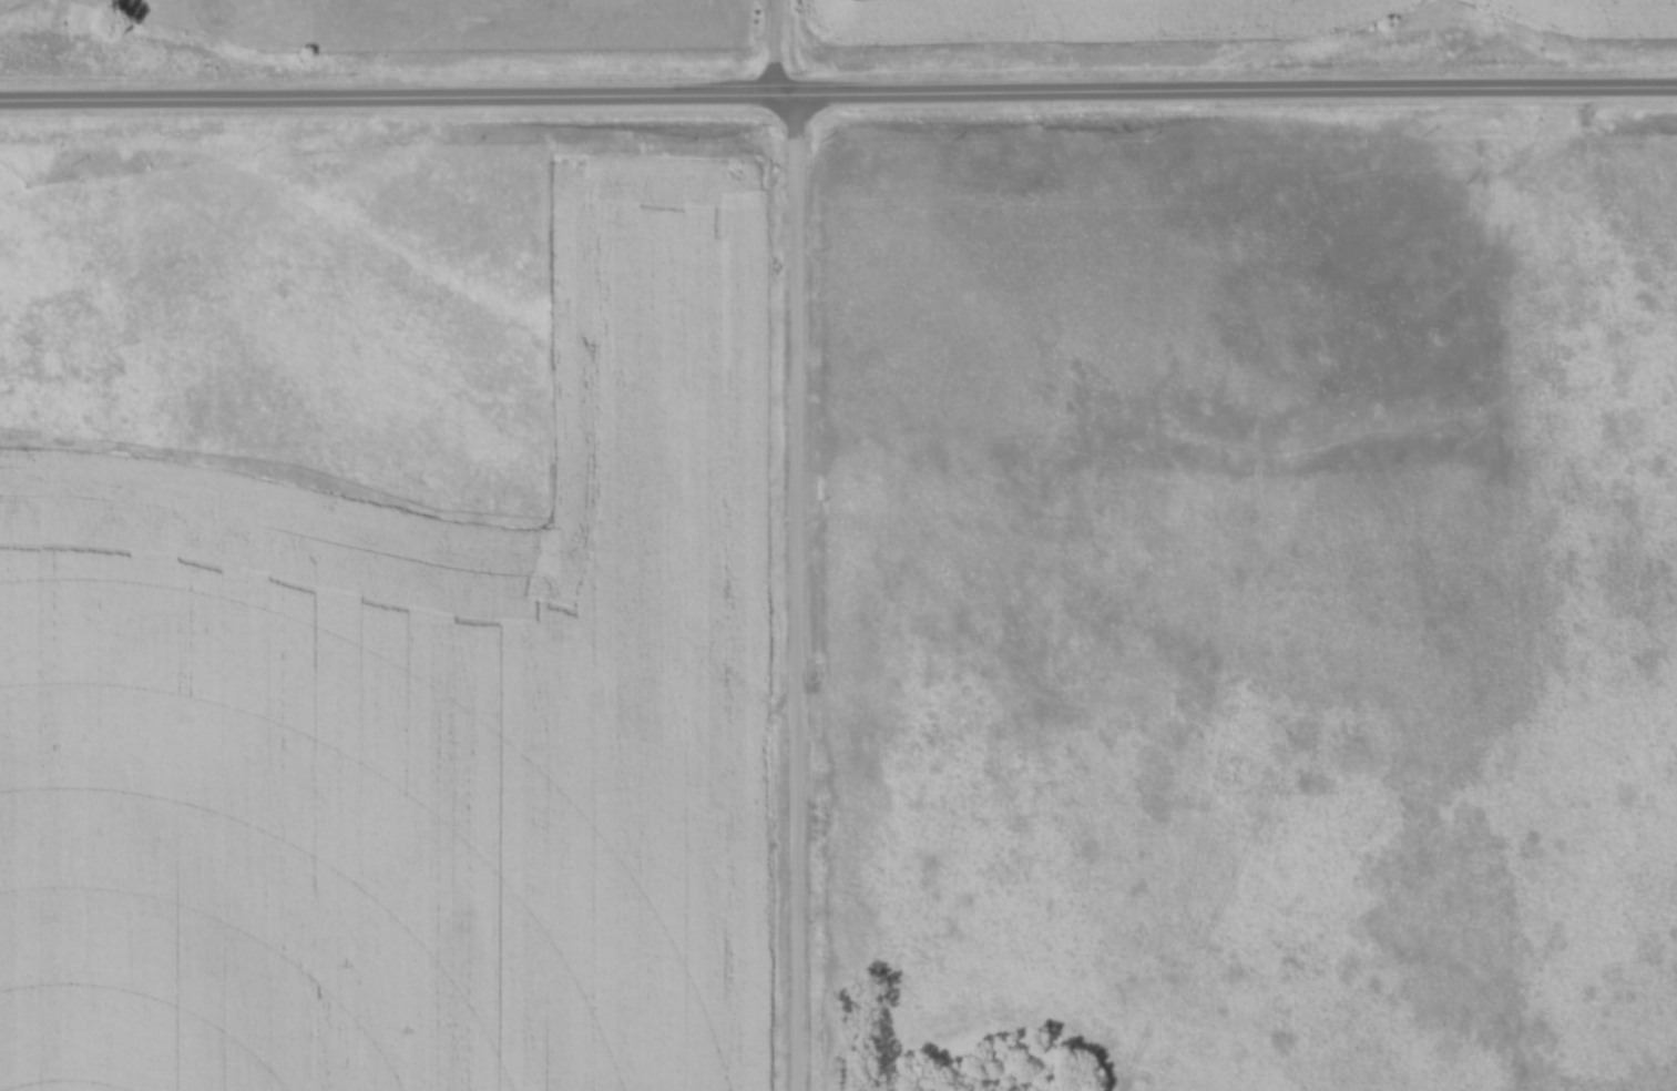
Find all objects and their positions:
crop: (1597, 16)
crop: (1086, 22)
road: (775, 50)
road: (838, 100)
road: (796, 595)

